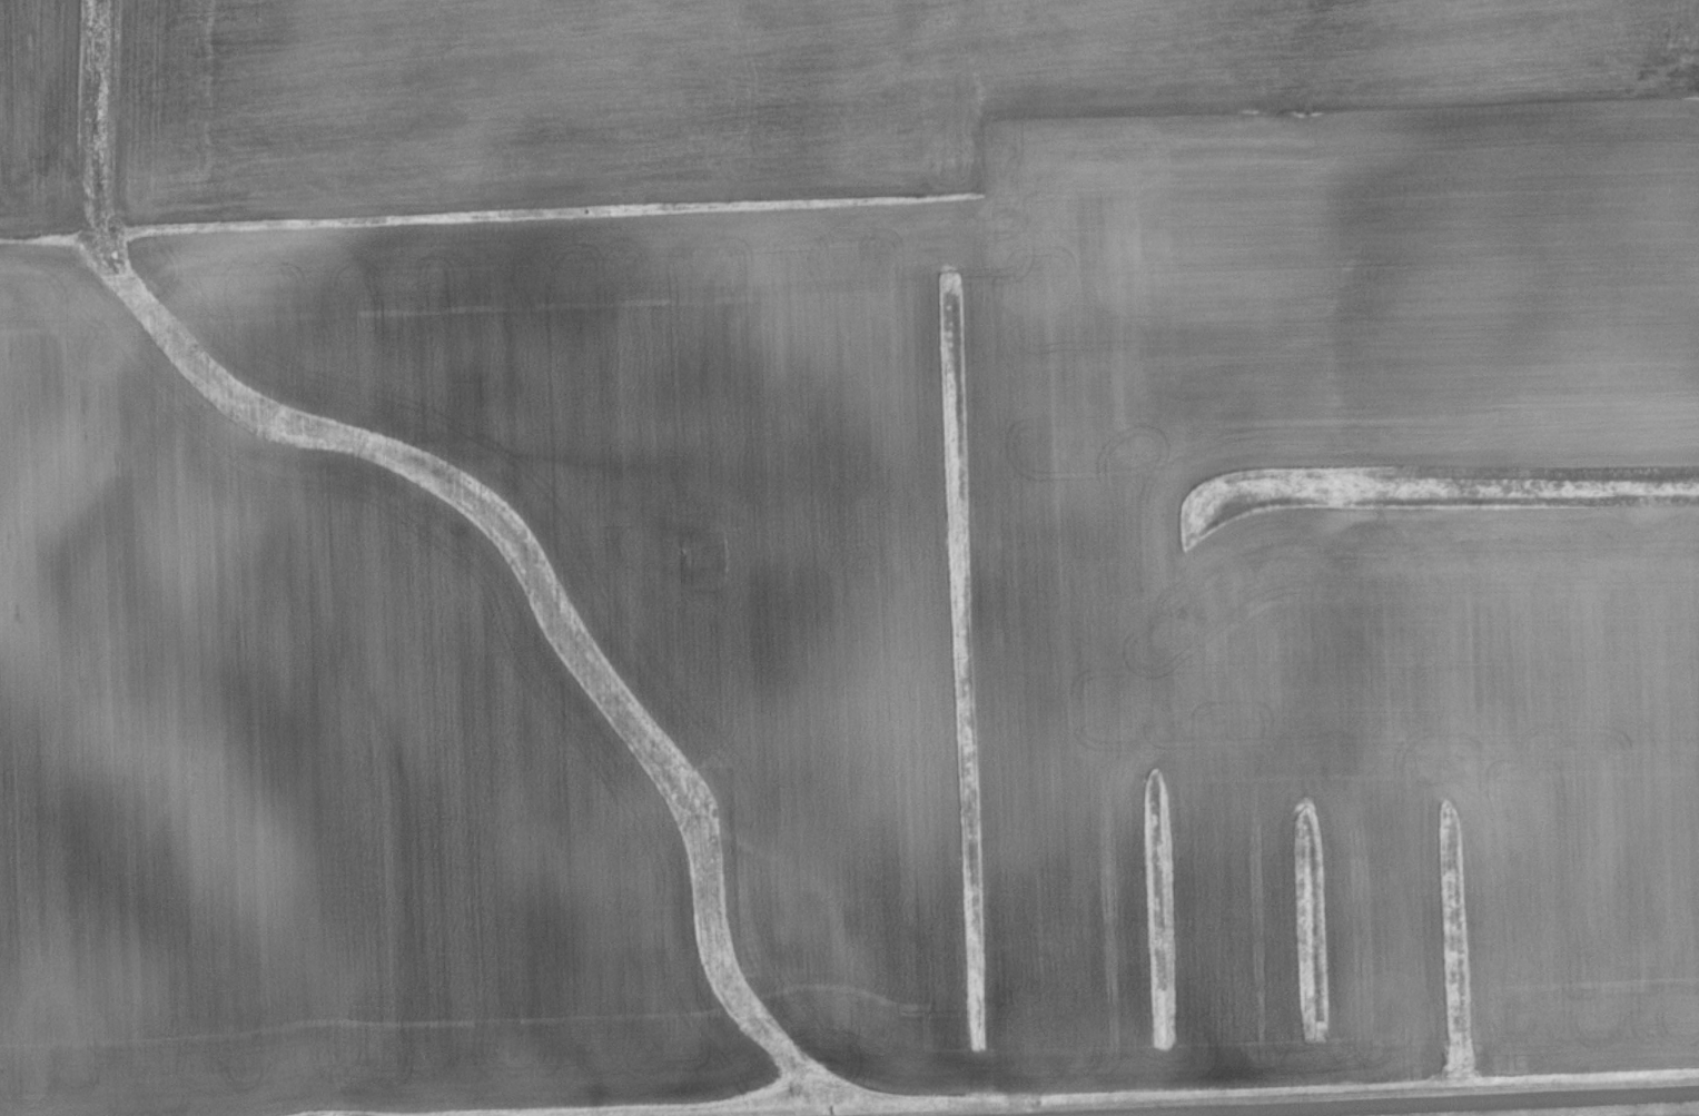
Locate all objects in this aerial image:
road: (1410, 1098)

